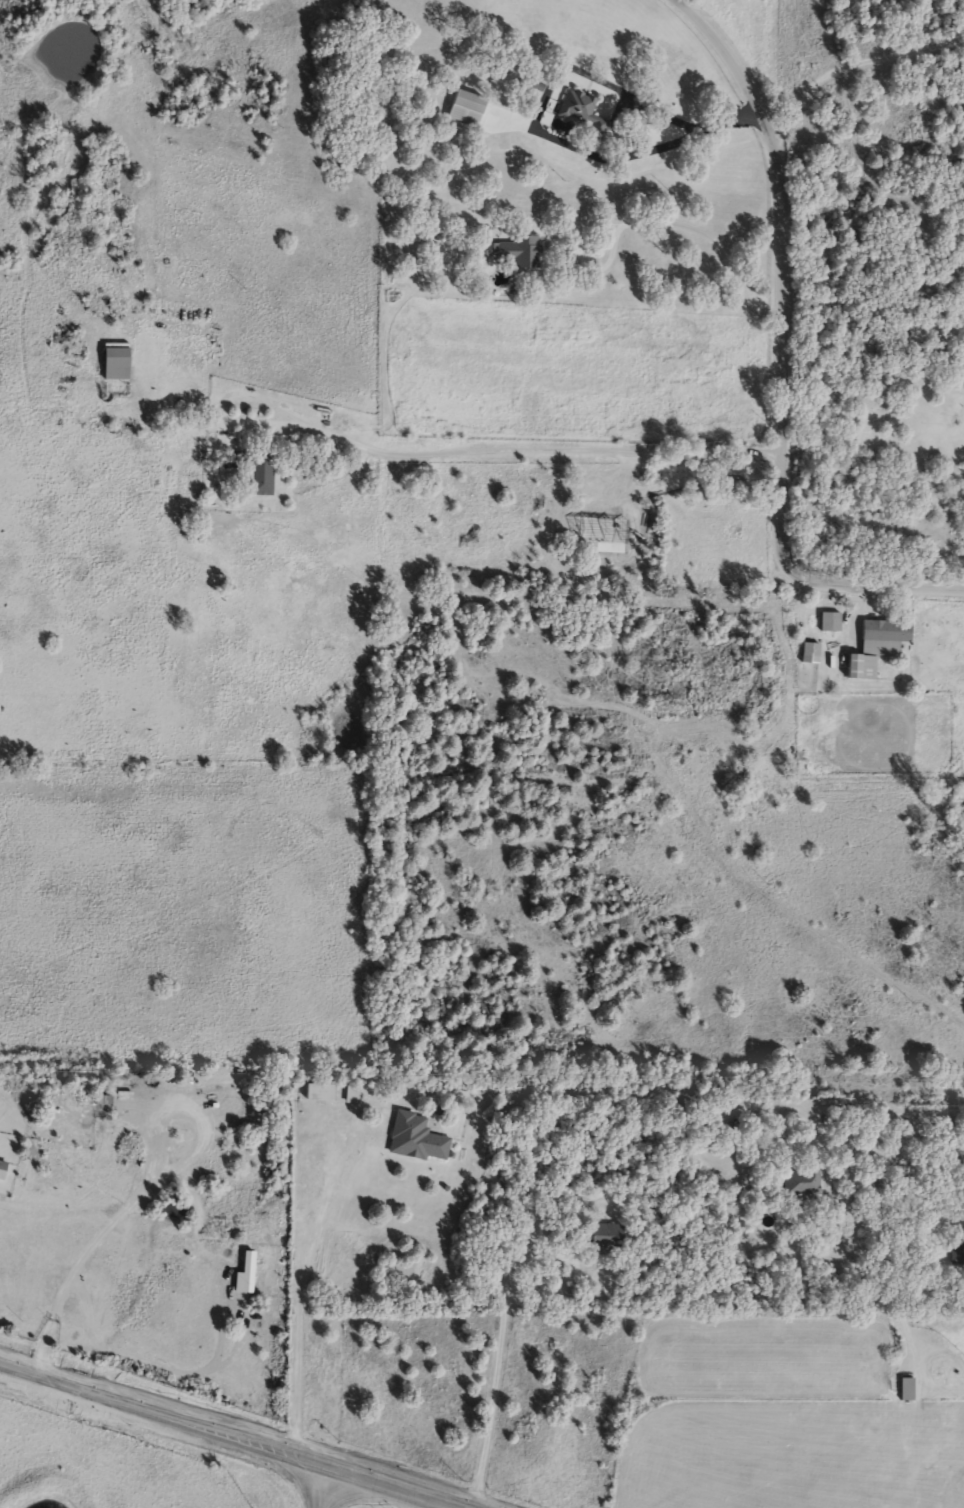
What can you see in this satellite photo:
building: (578, 114)
road: (537, 132)
building: (513, 250)
road: (781, 359)
building: (112, 362)
road: (499, 449)
building: (260, 473)
building: (828, 621)
building: (808, 649)
building: (863, 651)
building: (314, 1090)
building: (414, 1136)
road: (834, 1140)
building: (2, 1168)
building: (798, 1179)
building: (602, 1234)
building: (956, 1240)
building: (325, 1273)
road: (304, 1278)
road: (499, 1357)
building: (903, 1388)
road: (230, 1436)
road: (317, 1485)

